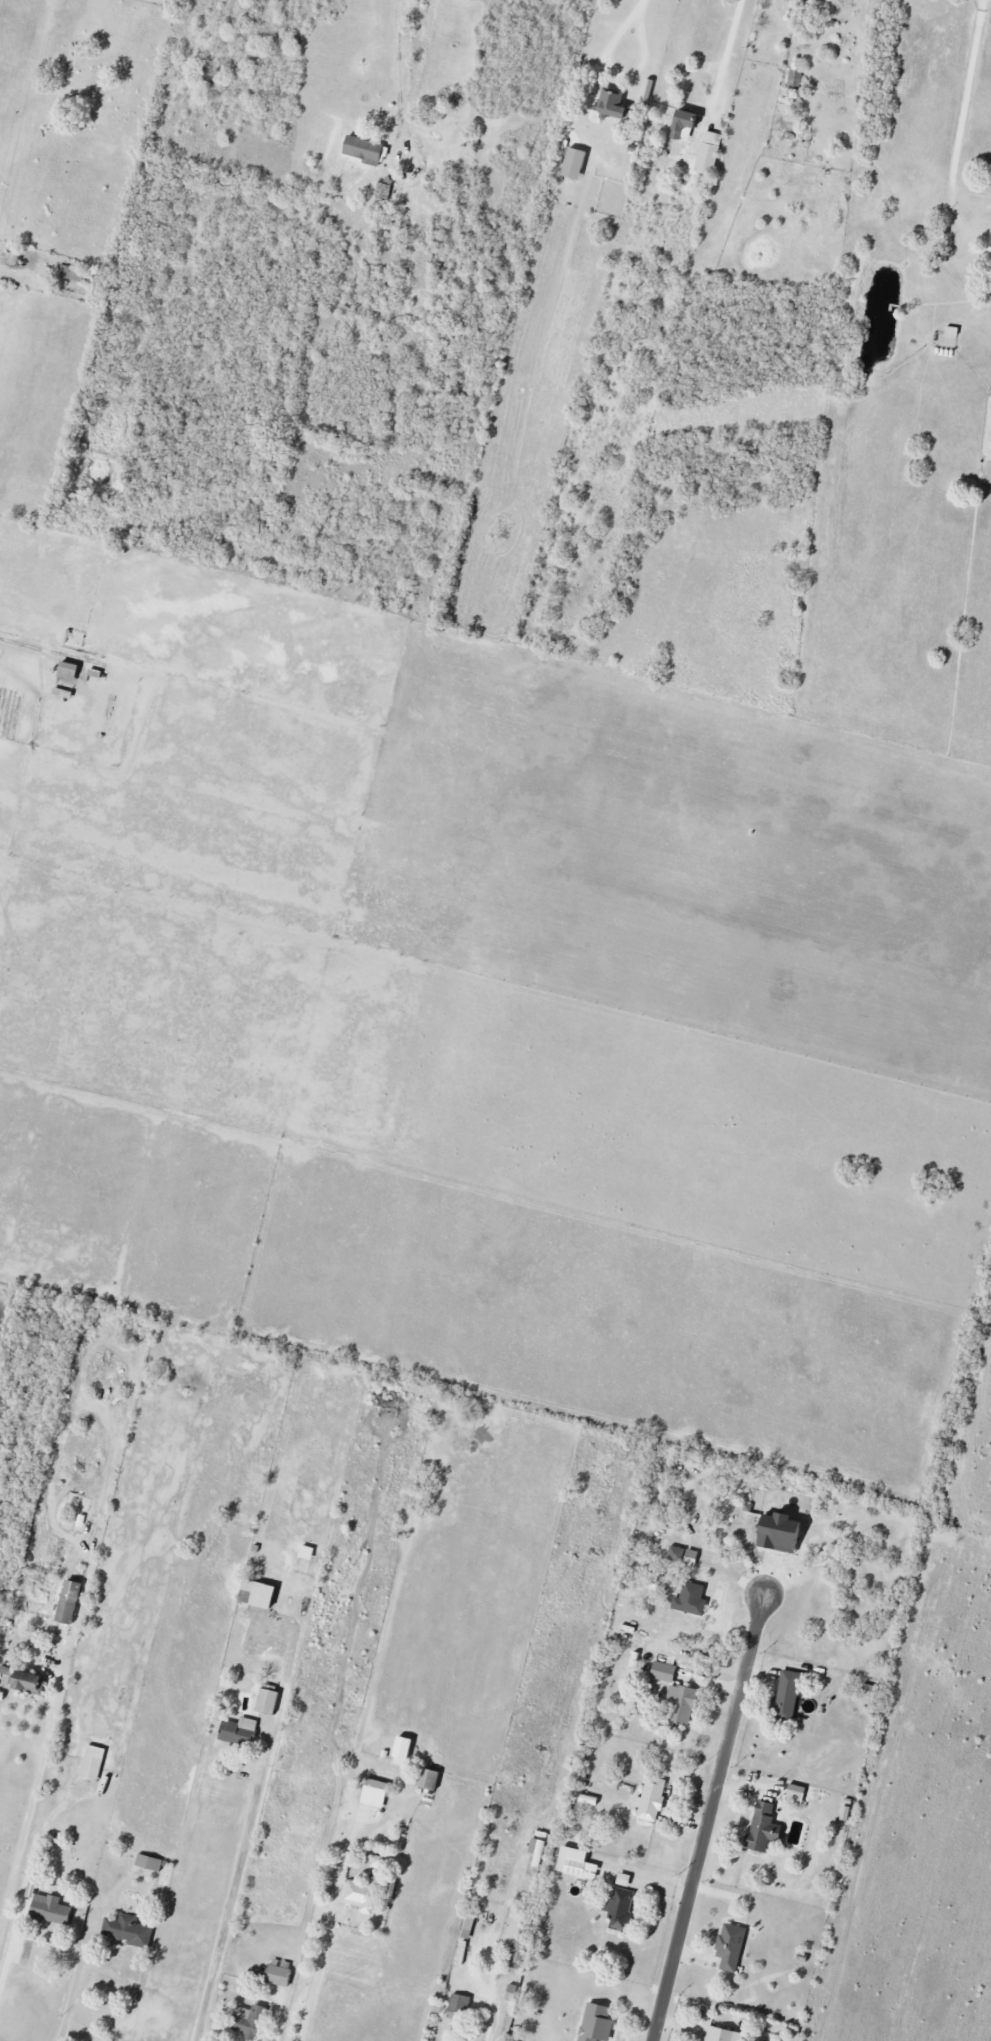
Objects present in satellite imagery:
road: (641, 0)
building: (787, 0)
road: (725, 53)
road: (398, 59)
road: (619, 73)
building: (794, 78)
building: (613, 106)
road: (963, 109)
building: (686, 126)
building: (365, 150)
building: (710, 154)
building: (575, 164)
building: (384, 191)
building: (69, 672)
building: (782, 1532)
building: (683, 1556)
building: (260, 1593)
building: (692, 1600)
building: (70, 1602)
building: (664, 1672)
building: (30, 1684)
building: (788, 1693)
building: (269, 1701)
building: (682, 1704)
building: (240, 1731)
building: (94, 1763)
building: (430, 1779)
building: (376, 1793)
building: (796, 1794)
building: (651, 1799)
road: (29, 1808)
road: (711, 1816)
building: (764, 1826)
building: (536, 1851)
building: (150, 1863)
building: (576, 1863)
building: (362, 1898)
road: (232, 1903)
building: (620, 1908)
building: (51, 1910)
building: (128, 1931)
building: (732, 1947)
road: (8, 1949)
building: (518, 1957)
road: (319, 1966)
road: (72, 1997)
building: (459, 2008)
building: (250, 2022)
building: (597, 2022)
building: (724, 2035)
road: (274, 2036)

